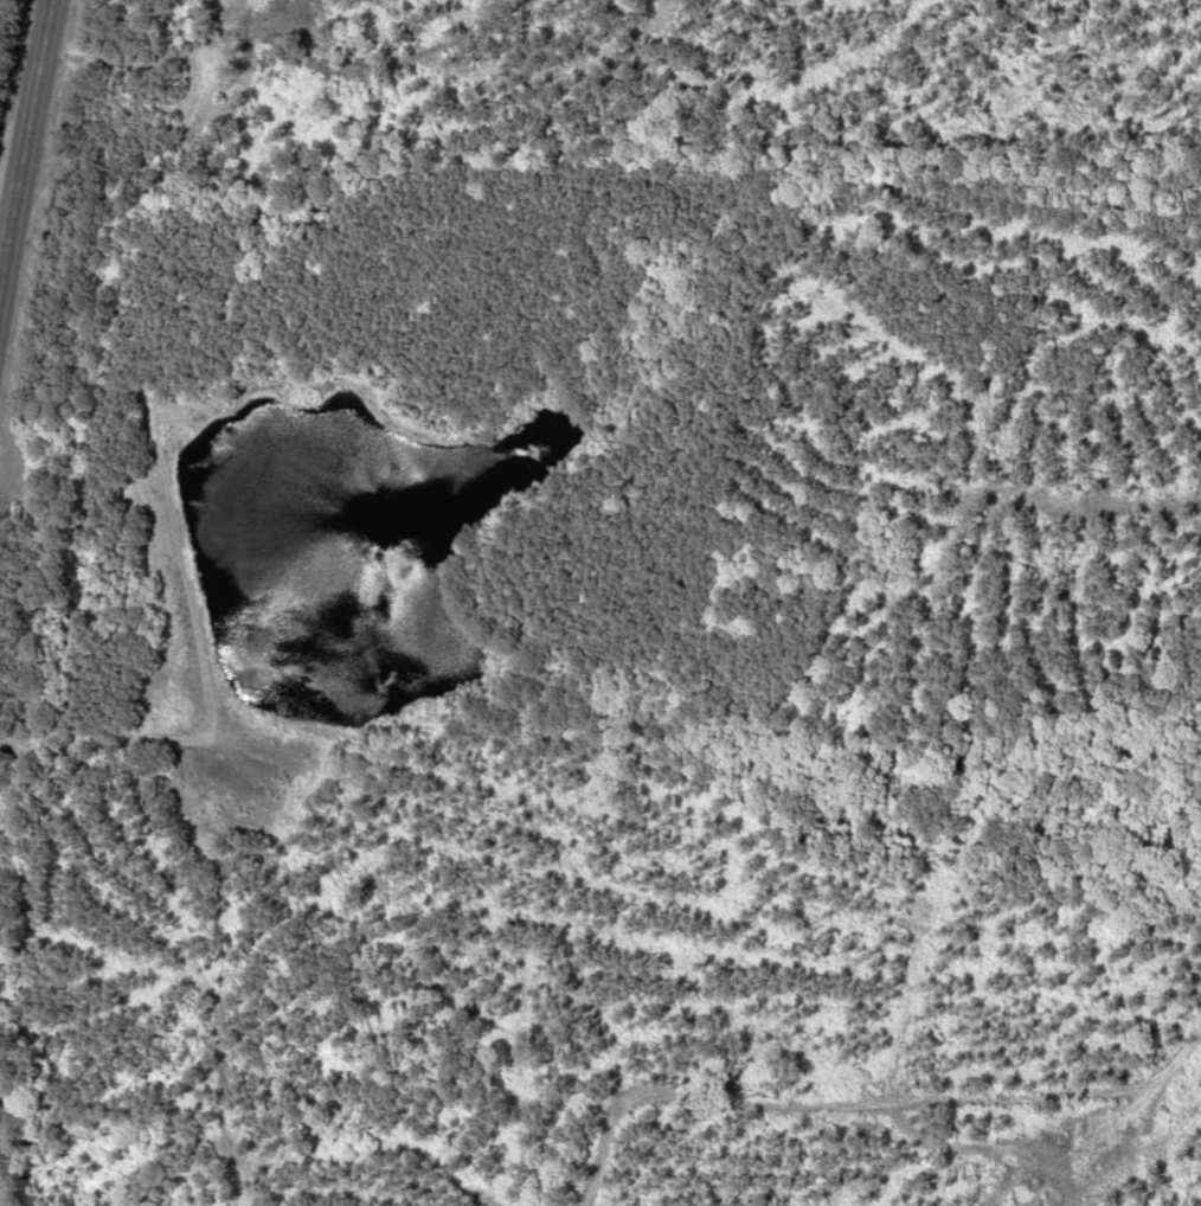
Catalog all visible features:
road: (21, 135)
road: (188, 840)

